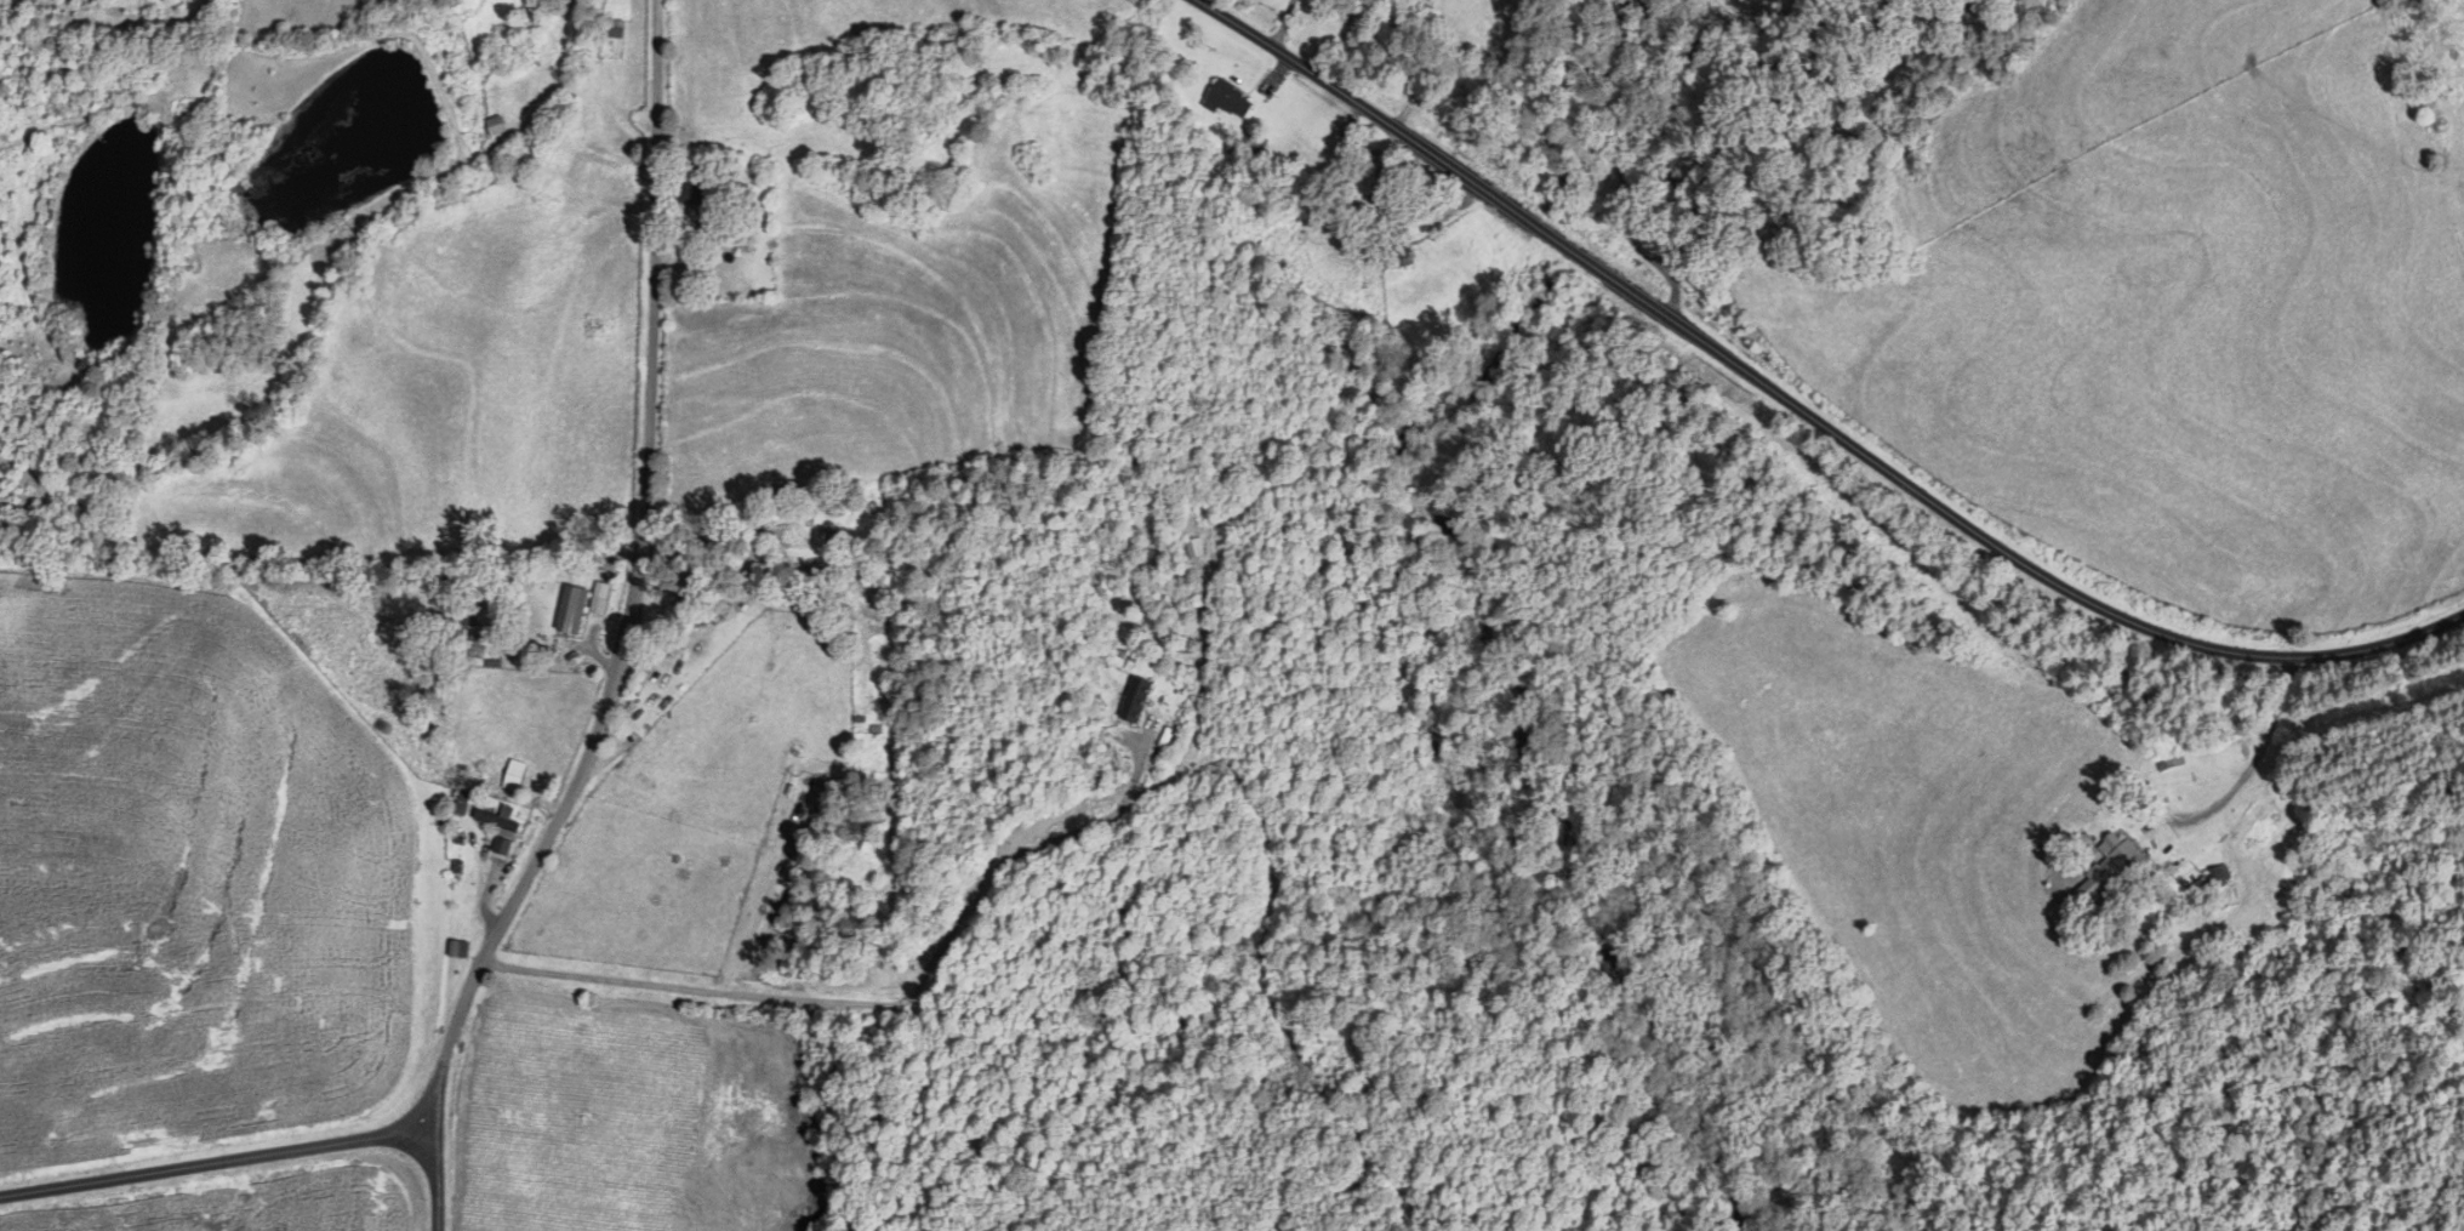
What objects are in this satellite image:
road: (1284, 22)
building: (612, 28)
building: (1231, 99)
building: (496, 126)
building: (1381, 181)
building: (701, 192)
building: (1401, 256)
road: (1807, 401)
building: (572, 609)
building: (1137, 700)
road: (2258, 752)
road: (569, 782)
building: (462, 803)
building: (2265, 821)
road: (1096, 825)
building: (502, 827)
building: (2111, 868)
building: (2217, 877)
building: (456, 950)
road: (428, 1173)

